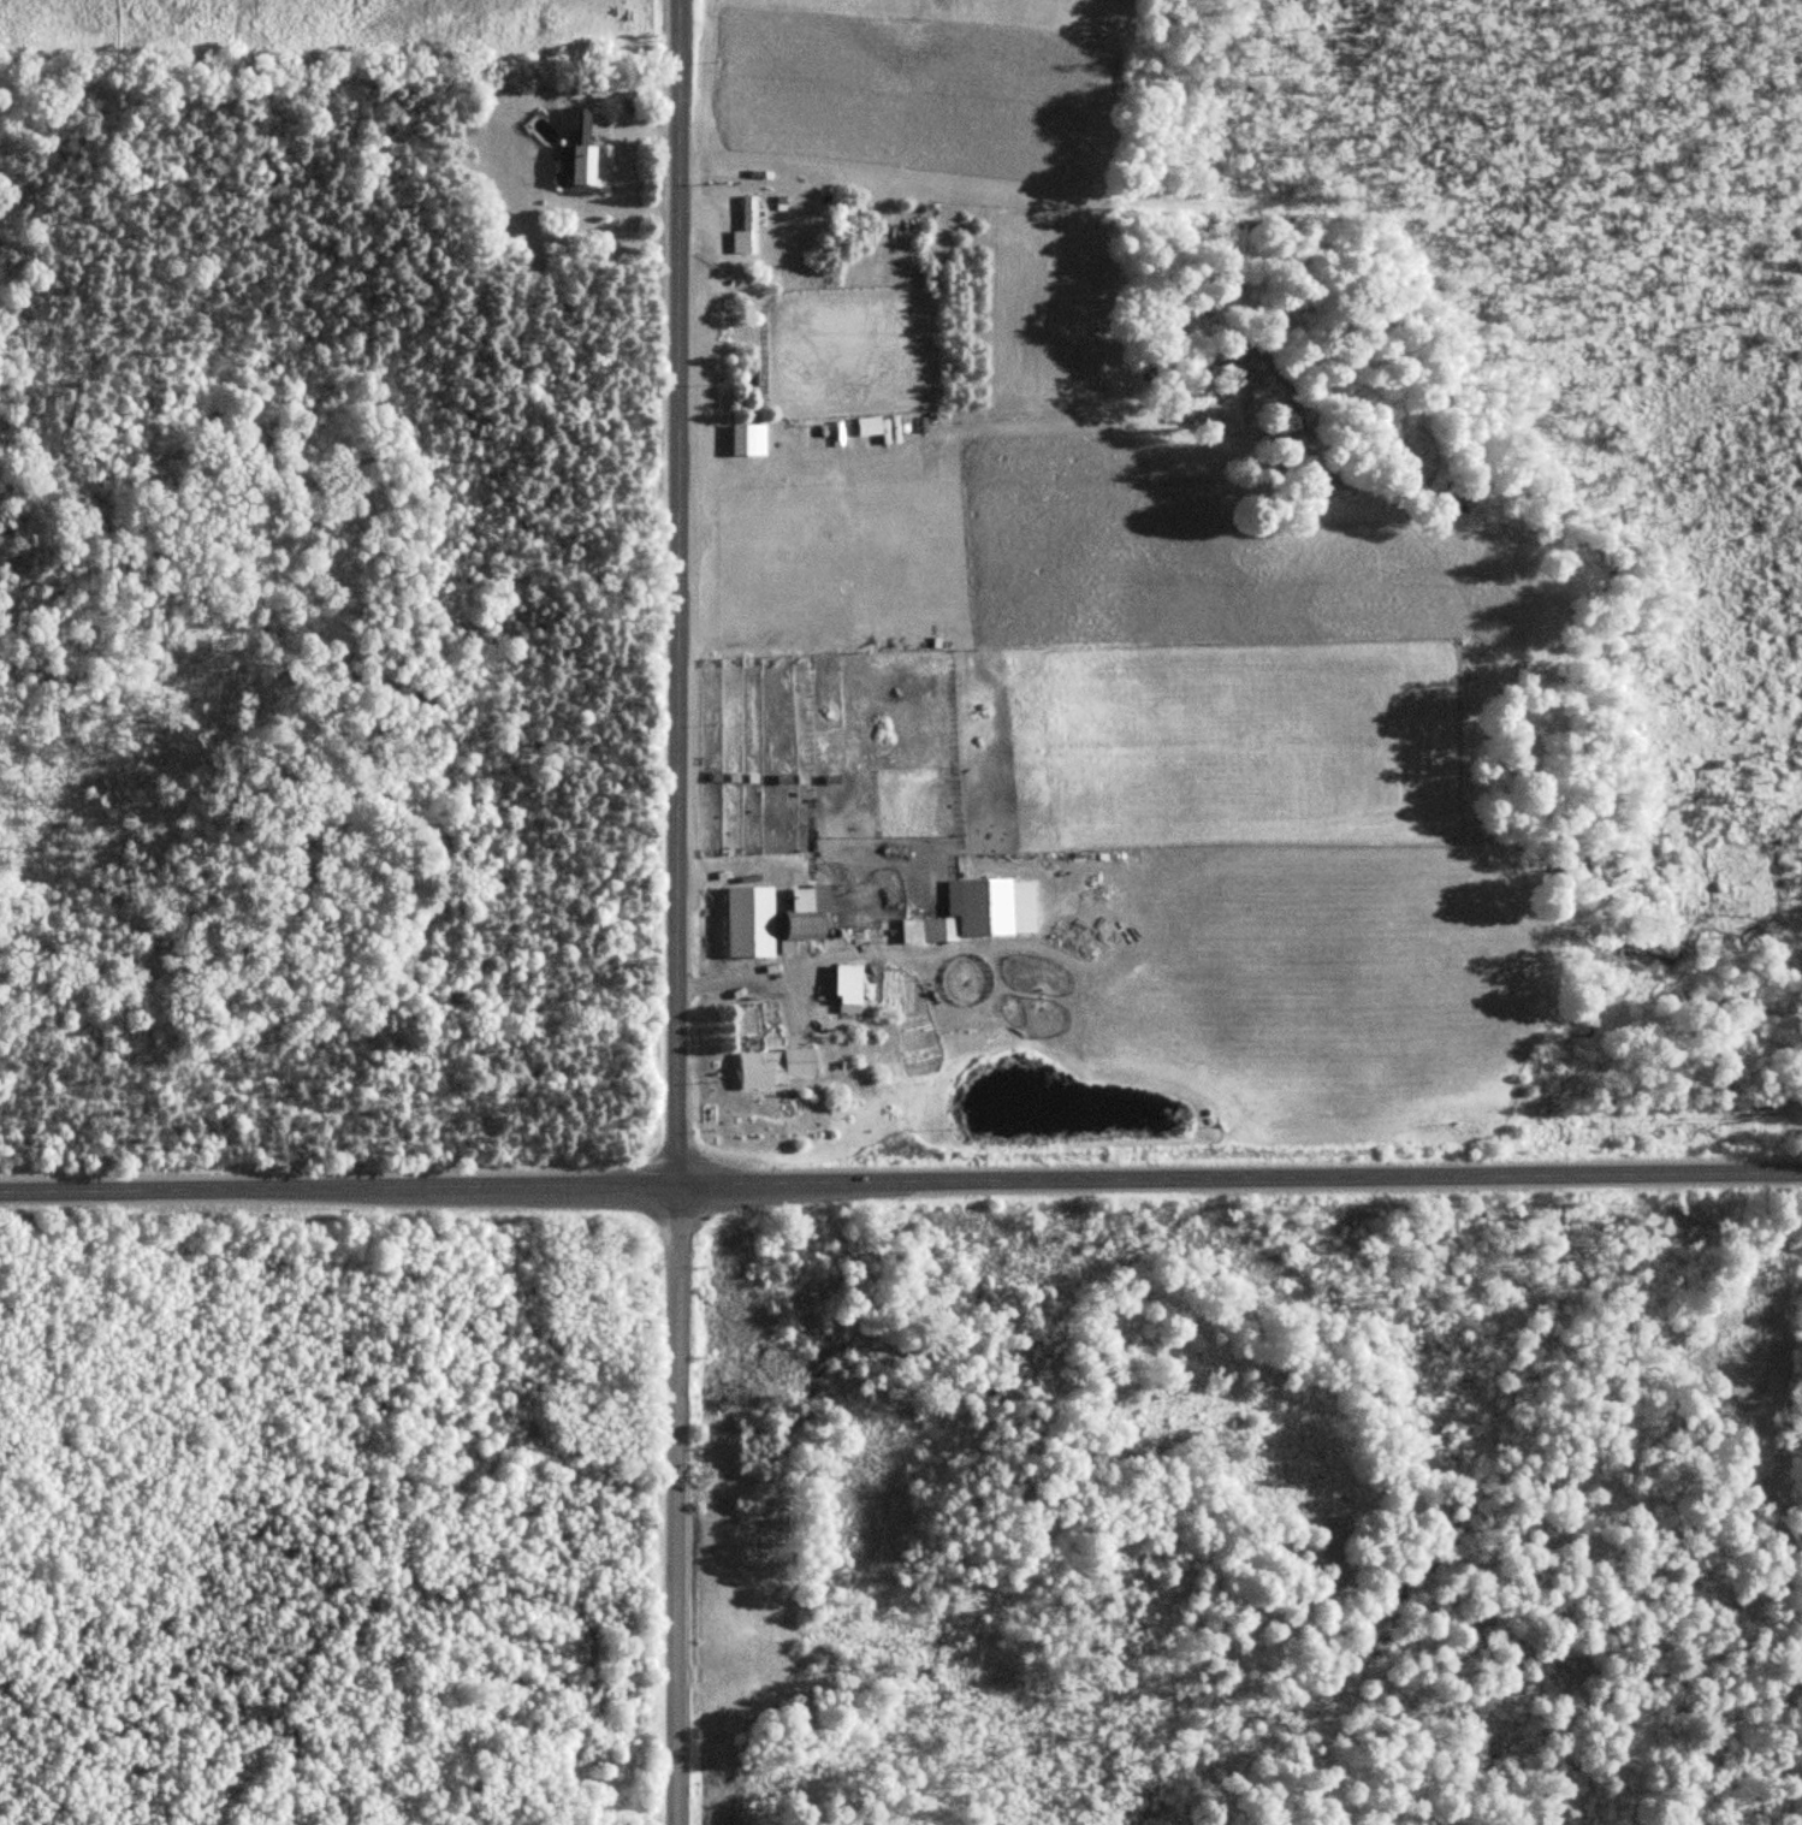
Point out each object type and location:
building: (577, 146)
building: (752, 224)
building: (751, 439)
building: (1261, 719)
building: (983, 906)
road: (670, 912)
building: (810, 917)
building: (753, 922)
building: (925, 930)
building: (776, 1066)
road: (901, 1178)

